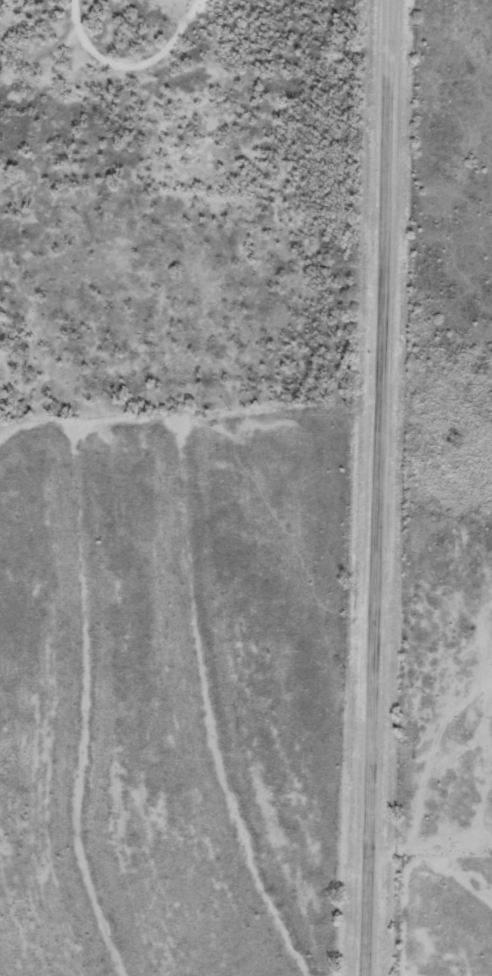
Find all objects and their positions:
road: (37, 31)
road: (224, 38)
road: (378, 487)

